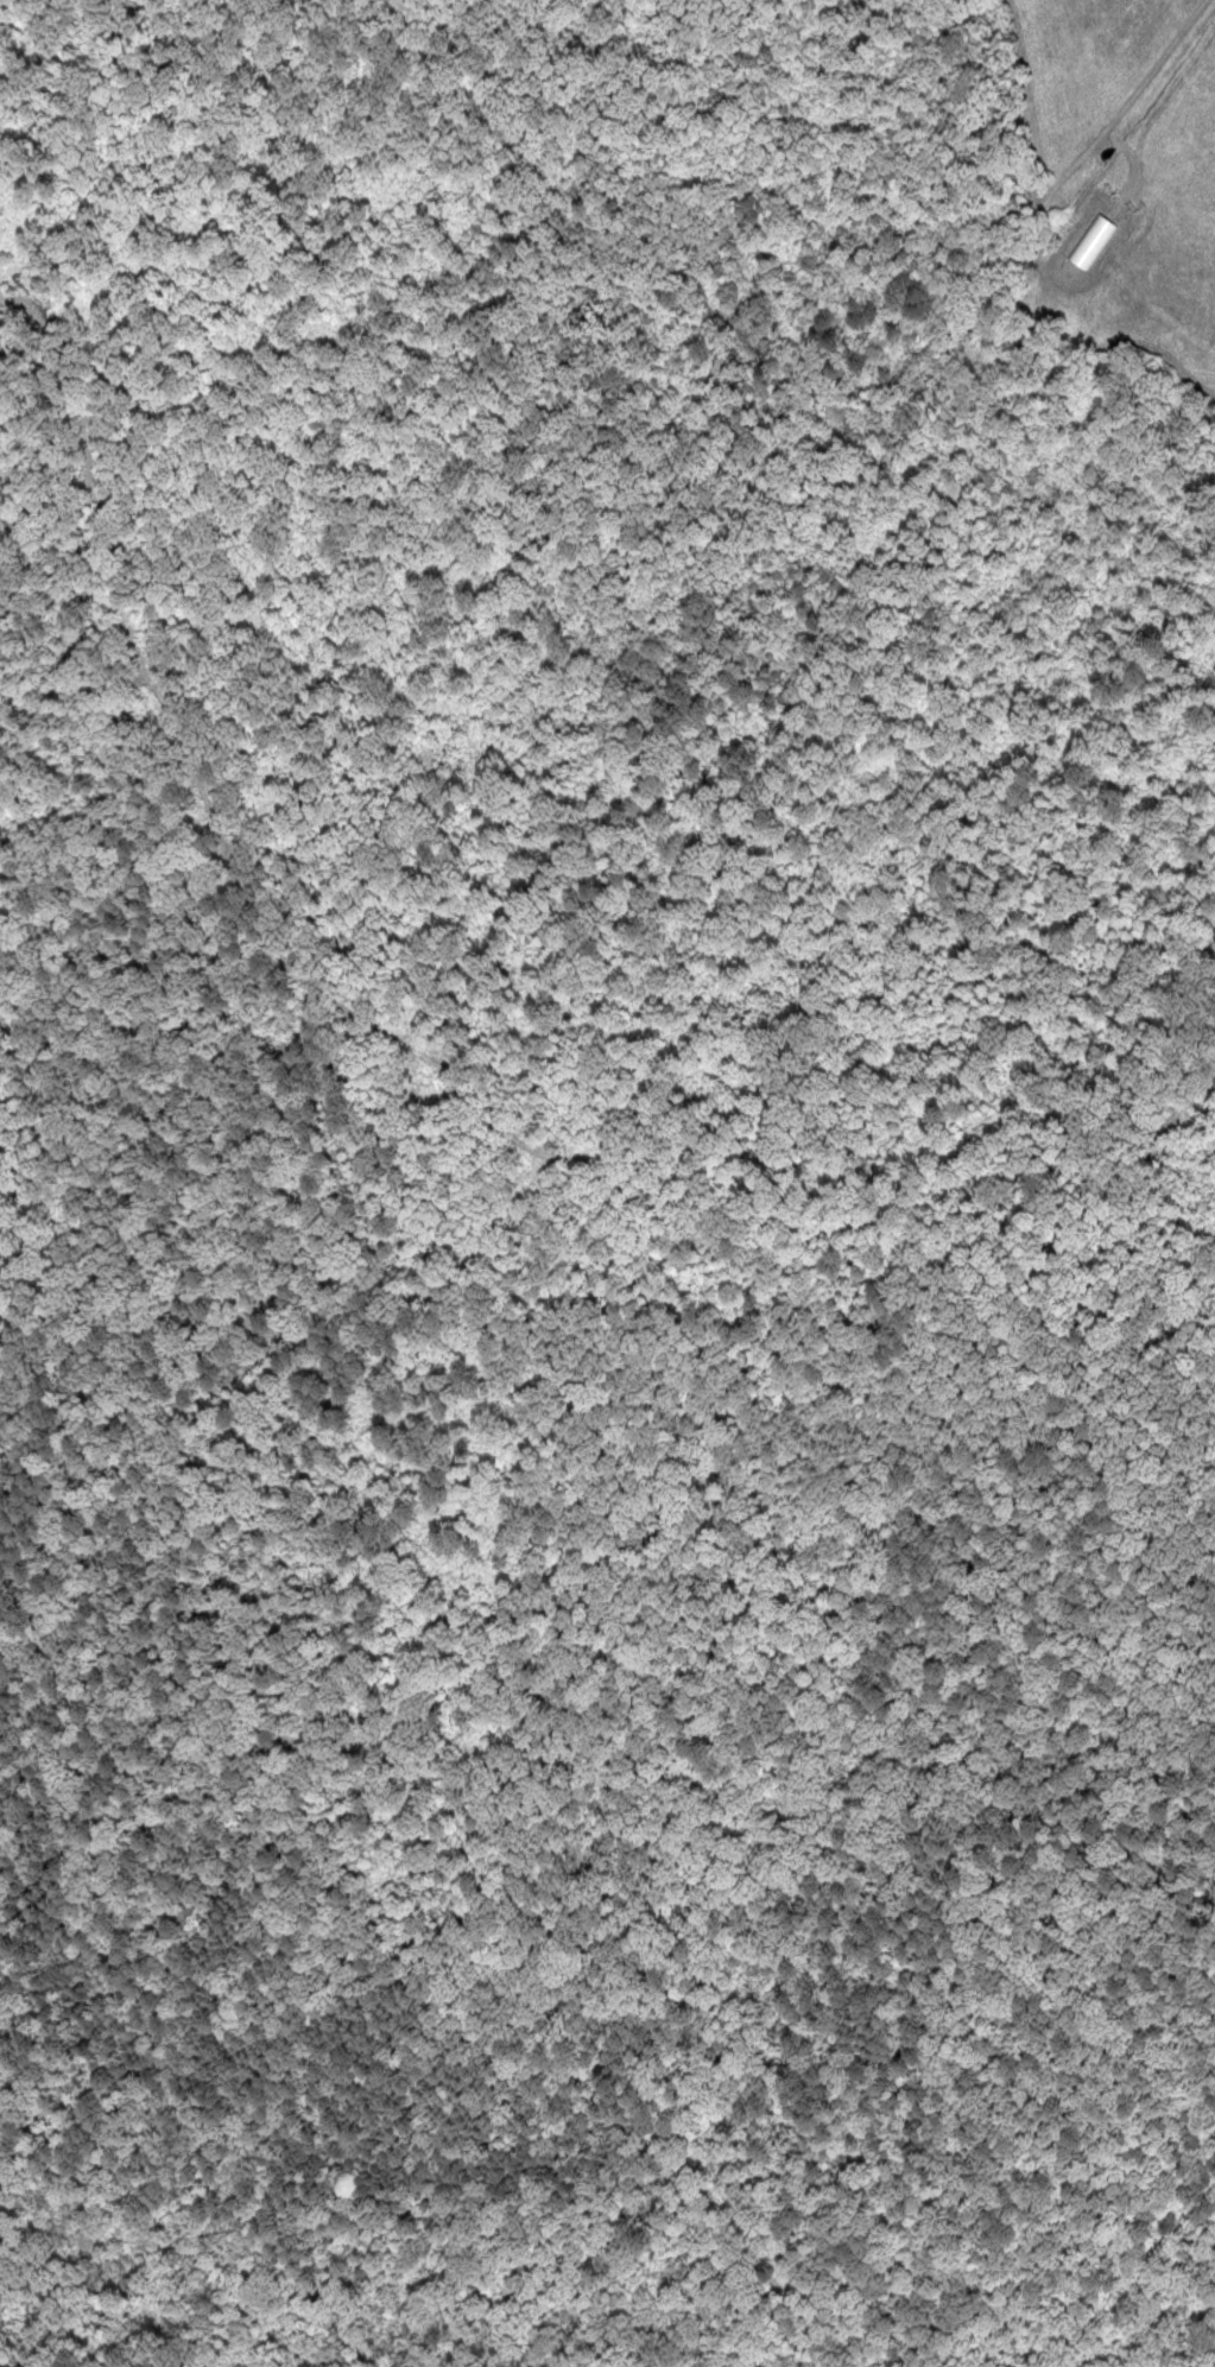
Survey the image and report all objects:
building: (1101, 240)

